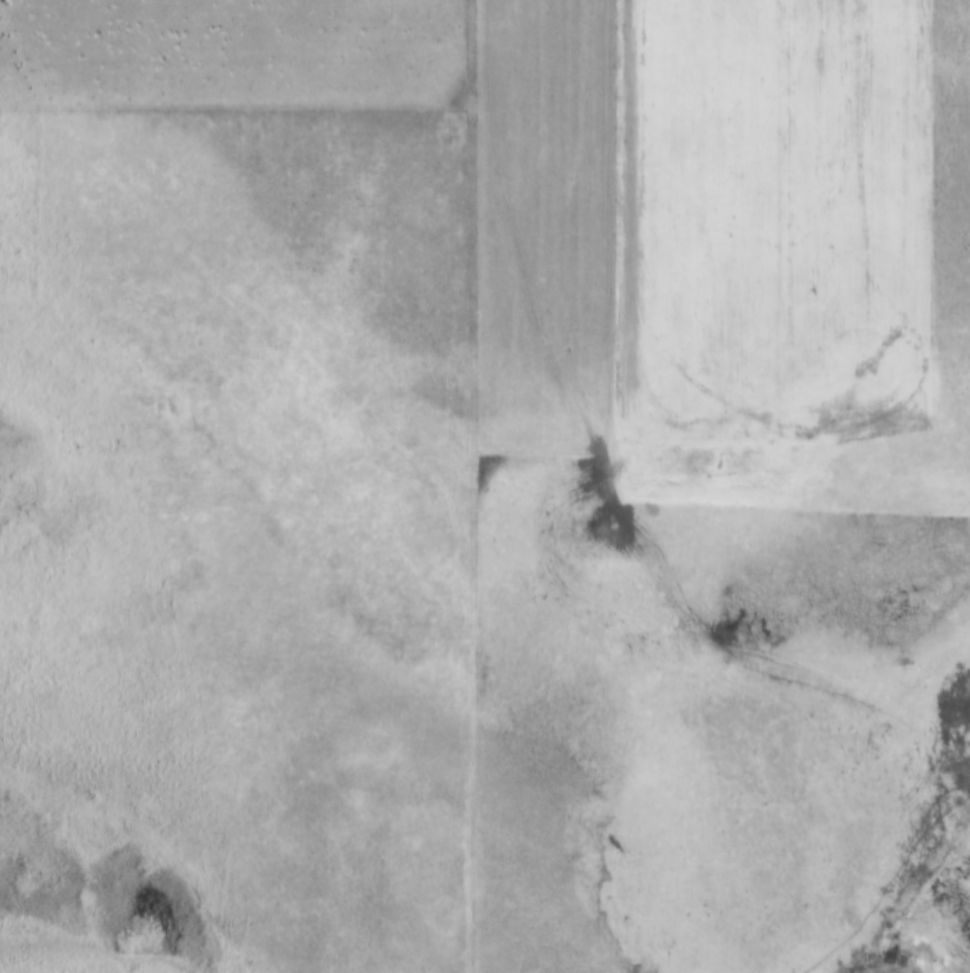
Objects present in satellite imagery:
road: (616, 228)

